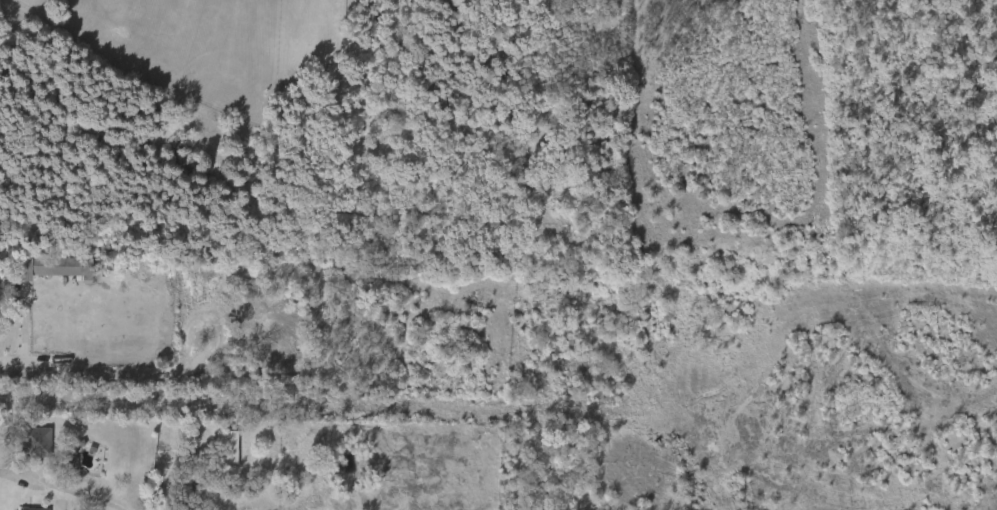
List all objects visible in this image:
building: (63, 265)
building: (10, 273)
building: (55, 274)
road: (120, 380)
road: (428, 408)
building: (36, 441)
building: (228, 447)
building: (219, 454)
road: (63, 486)
building: (33, 508)

